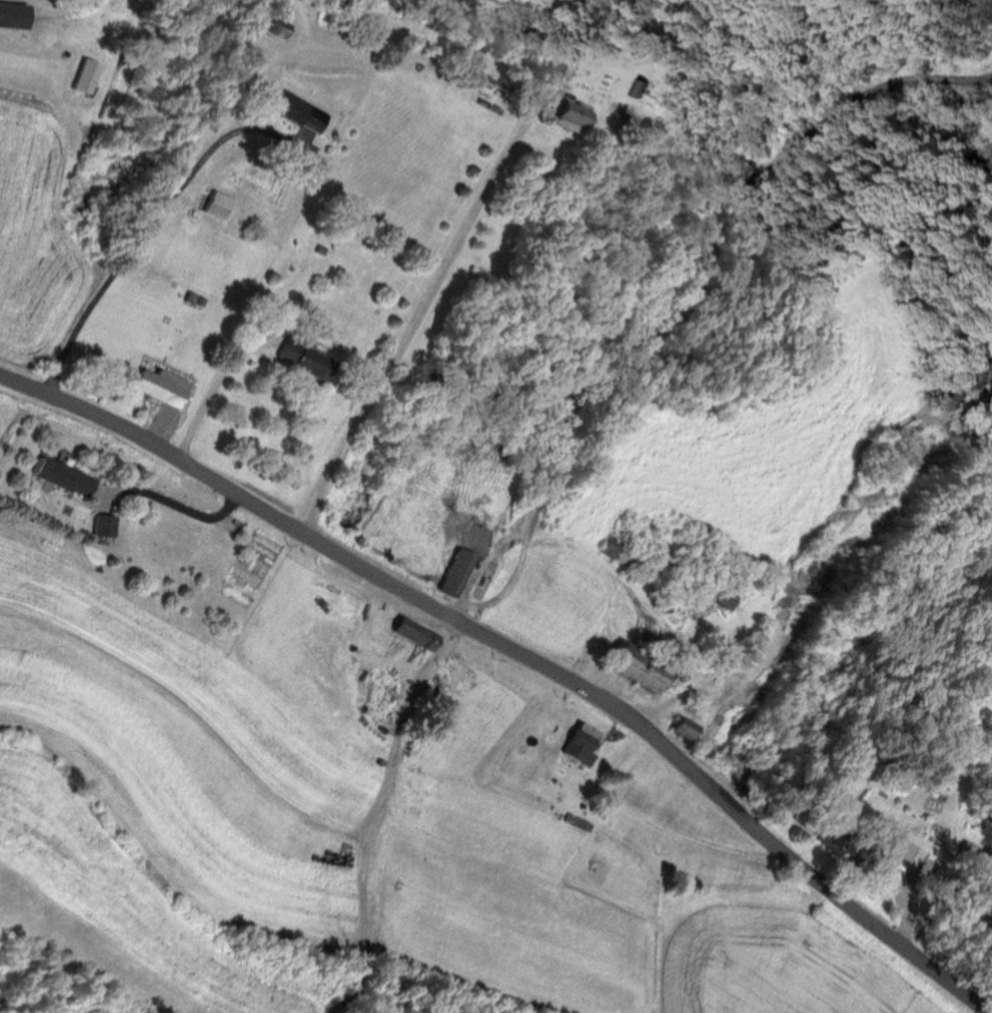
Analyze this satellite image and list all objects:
building: (565, 66)
building: (648, 86)
building: (289, 104)
building: (221, 204)
road: (134, 246)
road: (422, 307)
building: (310, 358)
building: (165, 385)
building: (68, 475)
building: (108, 523)
building: (628, 557)
building: (460, 571)
building: (710, 587)
road: (515, 644)
building: (645, 667)
building: (689, 730)
building: (584, 741)

